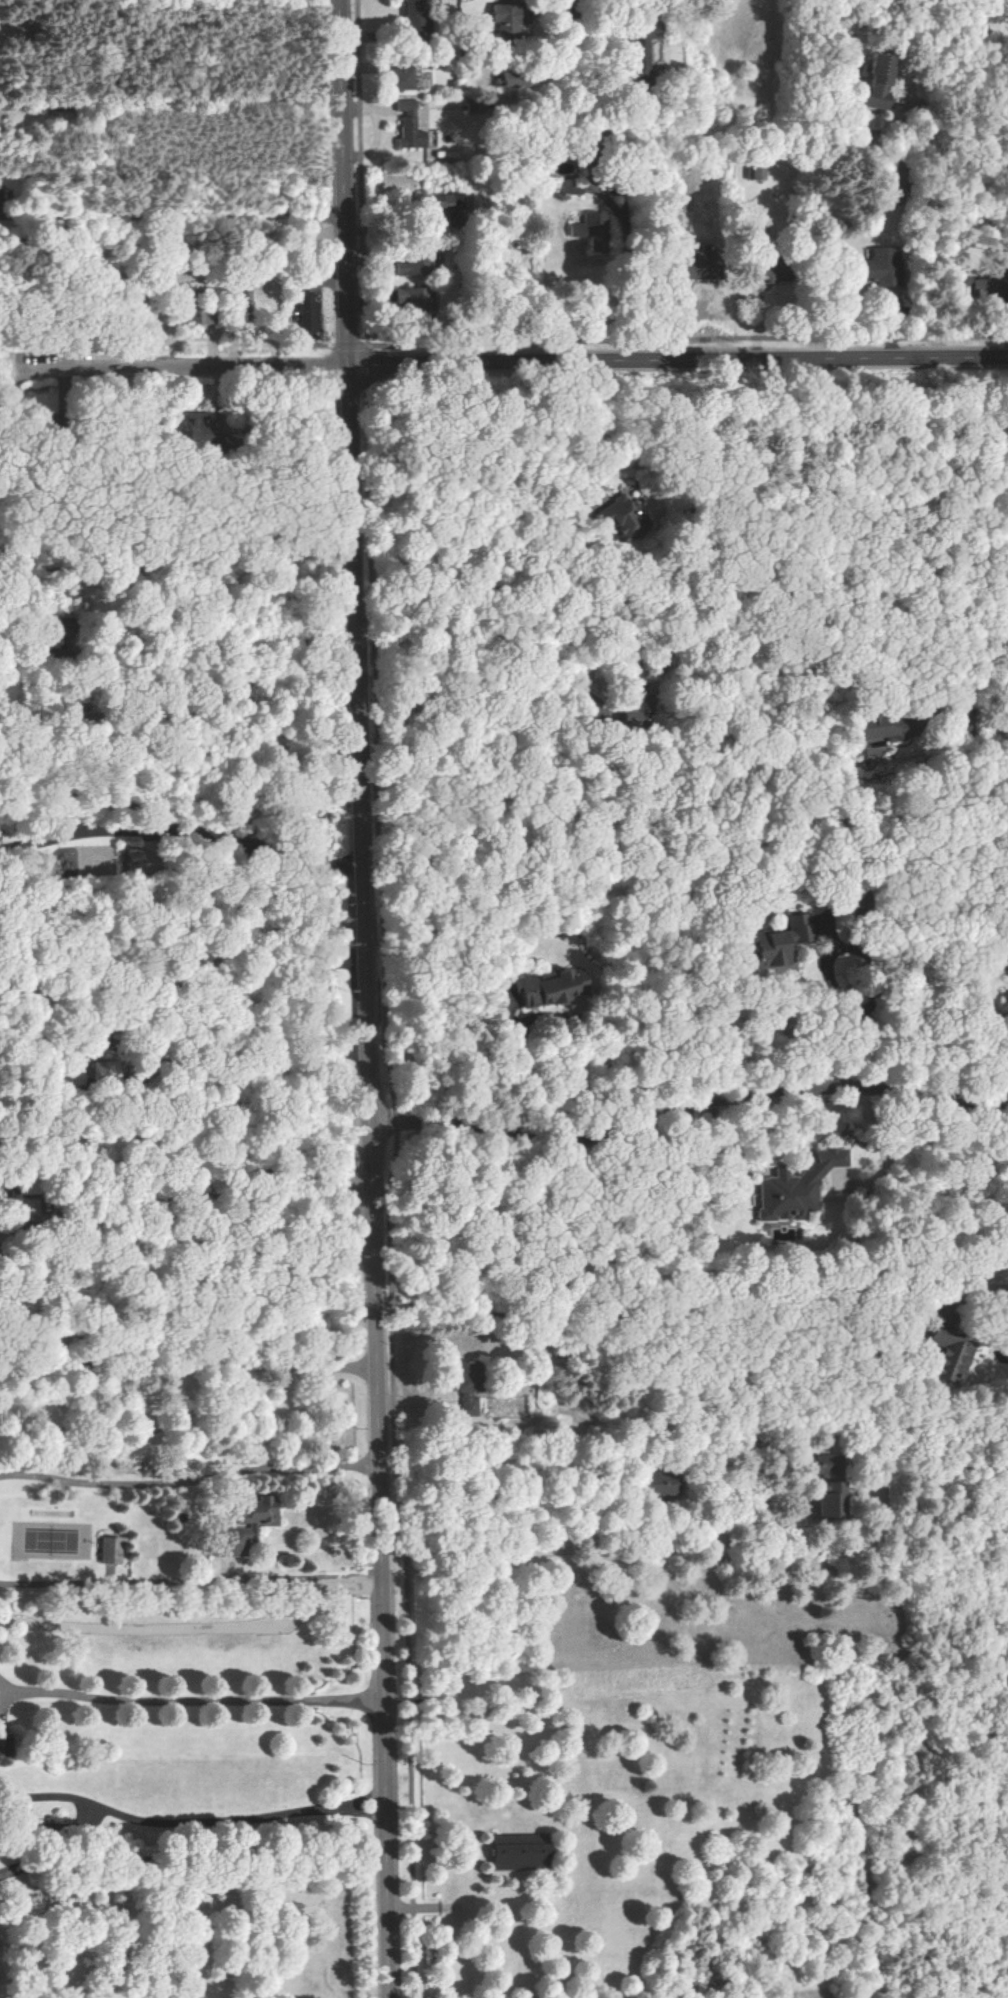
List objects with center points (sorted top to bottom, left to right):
building: (415, 13)
building: (505, 20)
road: (575, 28)
building: (640, 57)
building: (401, 78)
building: (516, 80)
building: (878, 81)
building: (409, 126)
building: (757, 174)
building: (571, 187)
building: (442, 203)
road: (617, 208)
road: (175, 214)
building: (589, 226)
road: (934, 257)
building: (882, 266)
building: (406, 267)
building: (963, 282)
building: (986, 284)
building: (406, 295)
building: (244, 298)
building: (306, 311)
road: (47, 333)
road: (688, 339)
road: (681, 360)
road: (191, 369)
road: (14, 373)
building: (198, 427)
road: (175, 516)
building: (627, 519)
road: (671, 601)
road: (179, 645)
building: (871, 734)
road: (180, 798)
road: (183, 829)
building: (779, 941)
road: (881, 965)
building: (549, 987)
road: (369, 998)
road: (386, 1000)
road: (555, 1036)
road: (1003, 1044)
road: (959, 1061)
road: (183, 1064)
building: (97, 1071)
road: (1006, 1079)
road: (187, 1097)
road: (655, 1109)
road: (974, 1112)
road: (1001, 1115)
road: (766, 1169)
building: (796, 1188)
road: (186, 1194)
road: (189, 1242)
road: (642, 1313)
building: (947, 1355)
road: (190, 1367)
building: (469, 1388)
road: (190, 1484)
building: (658, 1484)
building: (825, 1487)
building: (250, 1526)
park: (52, 1541)
building: (110, 1549)
road: (576, 1549)
road: (191, 1581)
road: (6, 1685)
road: (6, 1699)
road: (198, 1701)
road: (191, 1824)
road: (192, 1859)
park: (0, 1920)

